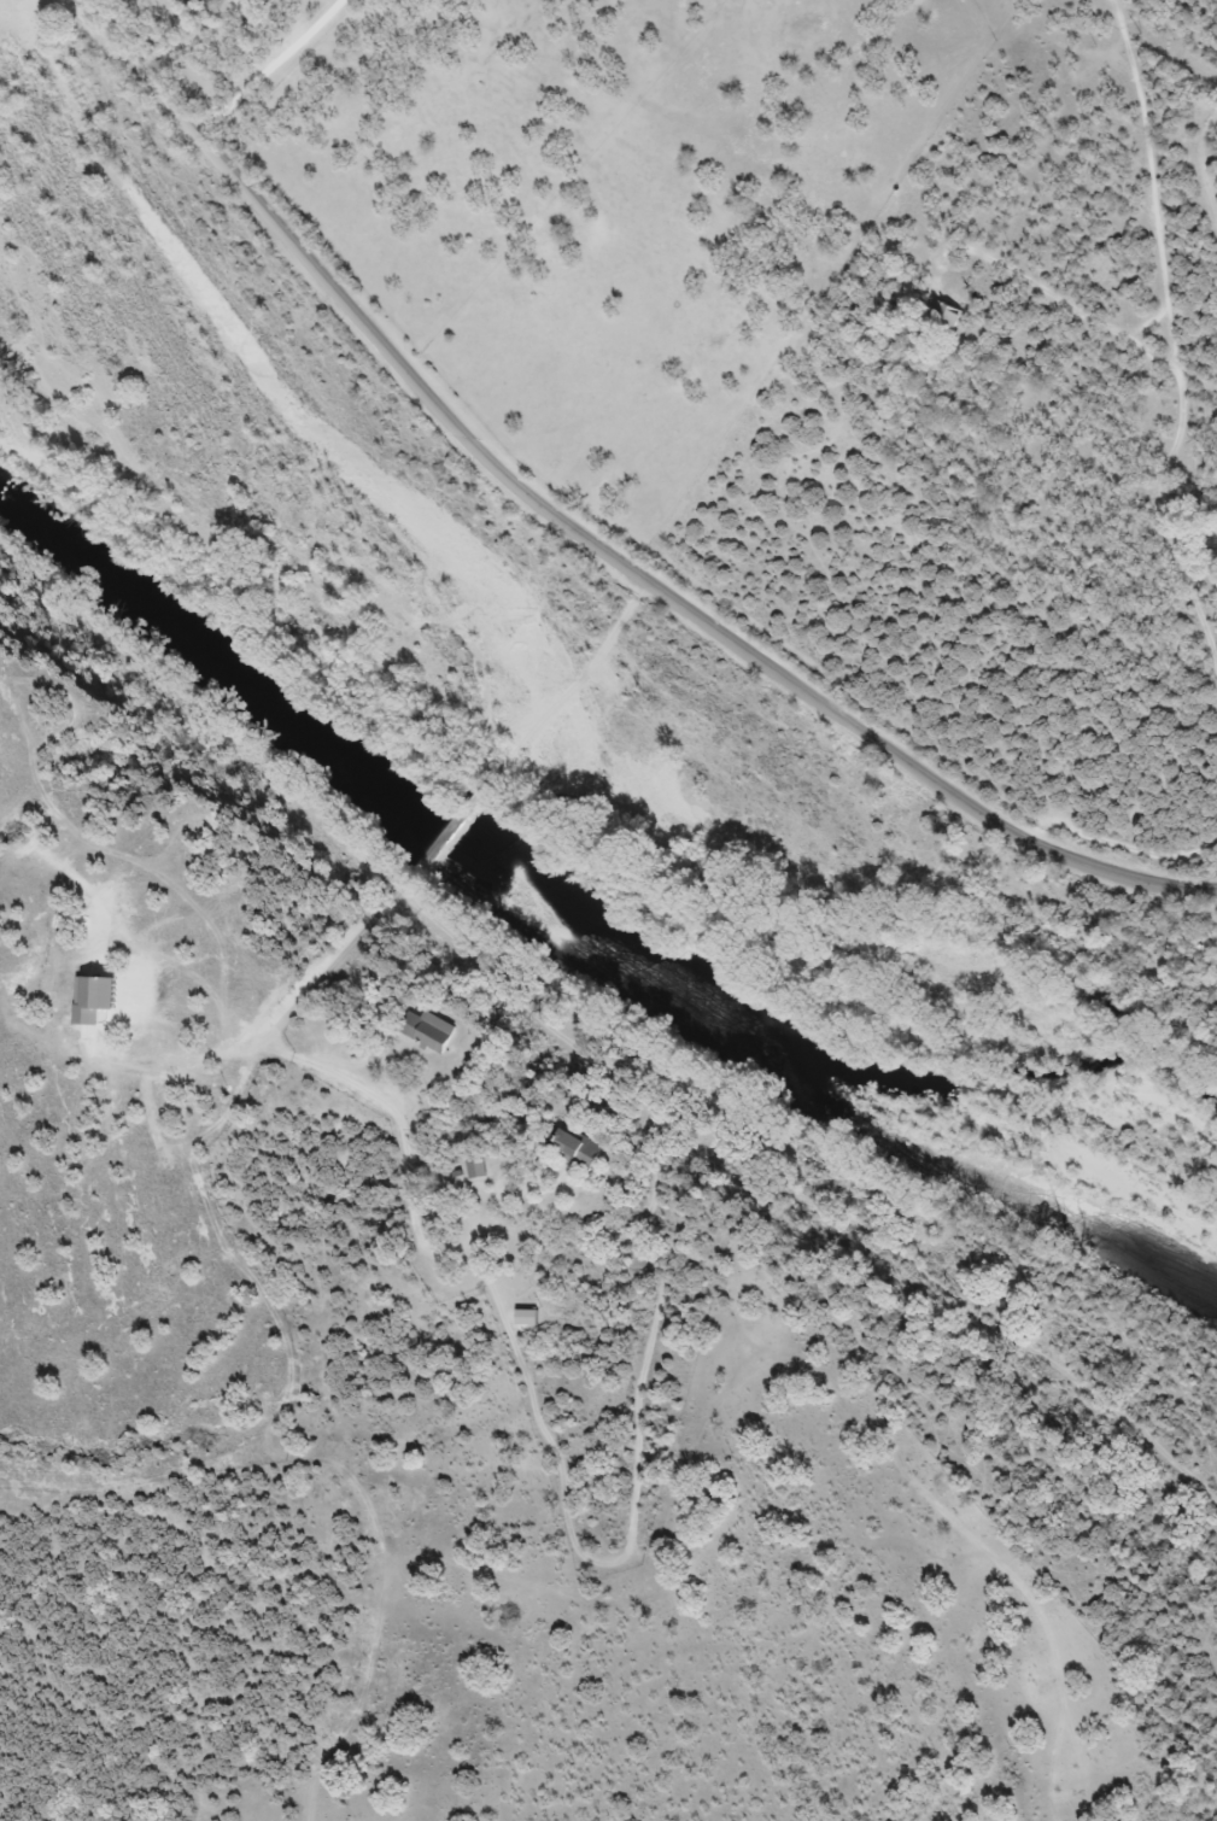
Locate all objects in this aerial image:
road: (275, 65)
road: (585, 529)
river: (581, 927)
building: (437, 1031)
building: (583, 1149)
building: (479, 1167)

